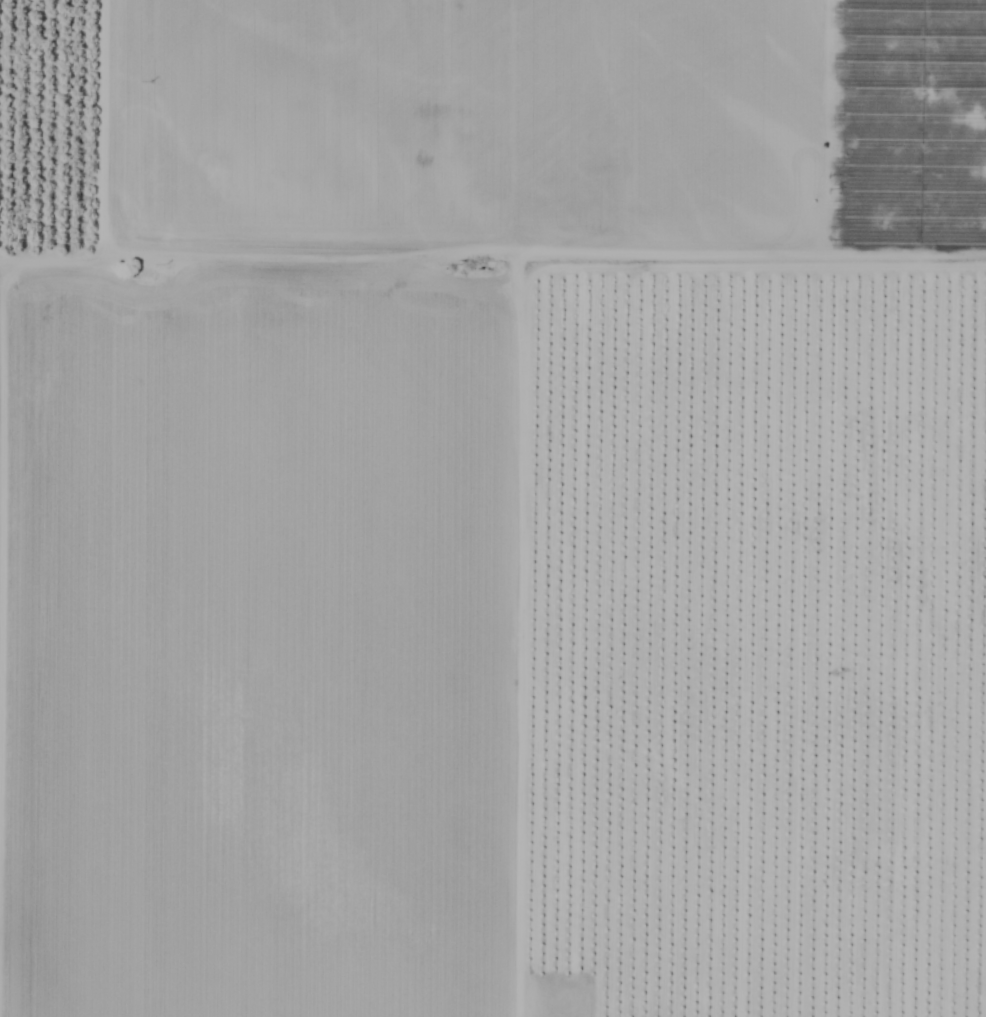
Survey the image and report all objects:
road: (519, 408)
crop: (493, 508)

